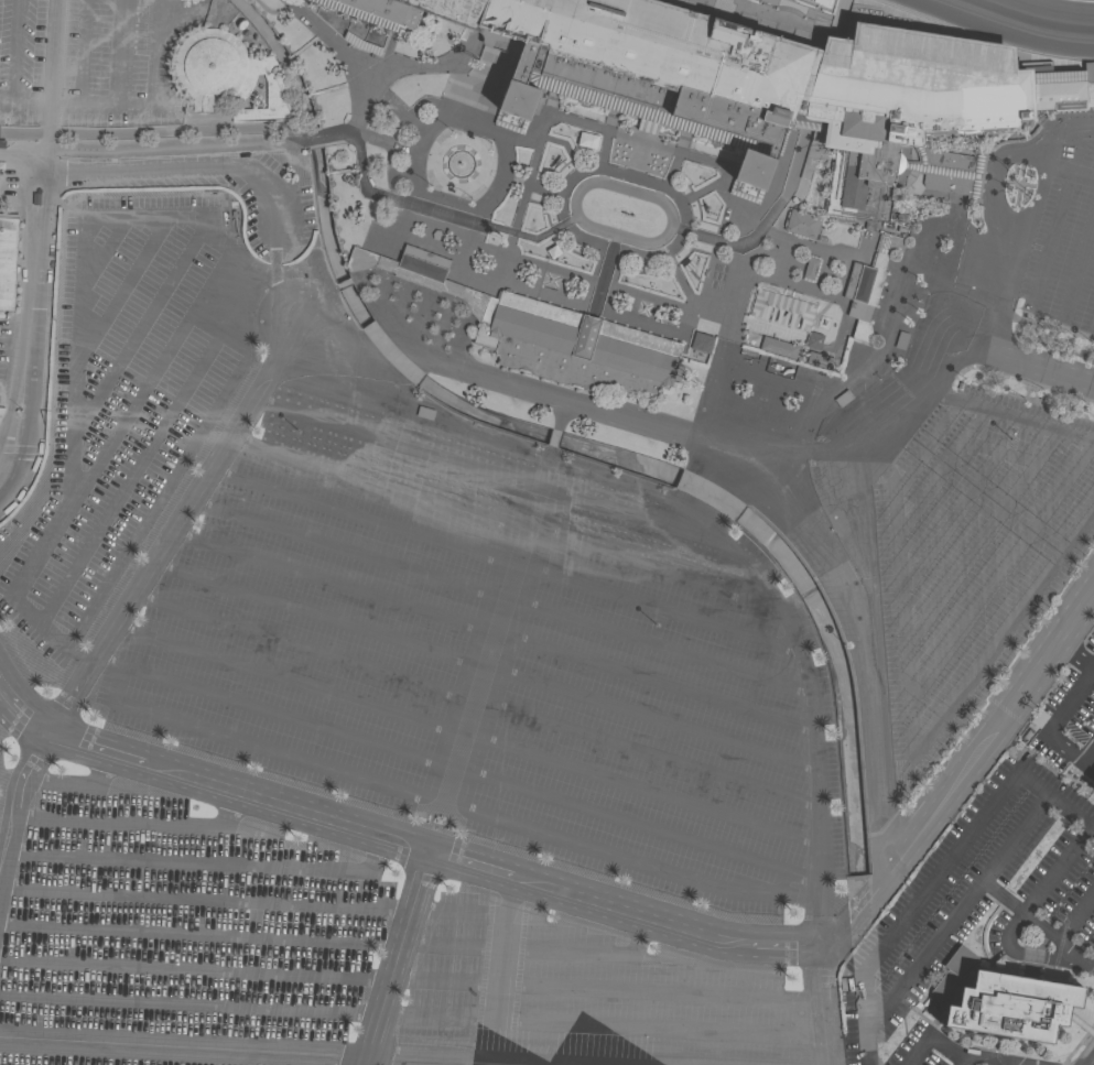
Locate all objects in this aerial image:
track: (1023, 21)
road: (17, 51)
road: (82, 52)
road: (118, 53)
building: (228, 76)
building: (740, 81)
road: (24, 101)
road: (150, 104)
building: (474, 104)
road: (151, 130)
road: (319, 137)
road: (20, 159)
road: (188, 166)
road: (992, 172)
road: (1057, 219)
building: (801, 224)
road: (1015, 225)
road: (555, 226)
road: (31, 252)
road: (100, 252)
building: (8, 260)
road: (1077, 261)
building: (809, 270)
building: (868, 285)
road: (120, 292)
building: (781, 312)
road: (137, 332)
building: (545, 333)
building: (814, 339)
building: (901, 340)
building: (701, 343)
building: (778, 347)
building: (819, 359)
road: (1031, 367)
building: (778, 369)
road: (950, 371)
road: (151, 378)
building: (773, 381)
building: (843, 398)
road: (1011, 420)
road: (650, 423)
road: (387, 445)
road: (924, 450)
road: (997, 452)
road: (142, 458)
road: (938, 475)
road: (370, 481)
road: (356, 513)
road: (949, 523)
road: (55, 525)
road: (542, 539)
road: (979, 540)
road: (339, 550)
road: (661, 572)
road: (999, 573)
road: (139, 579)
road: (325, 580)
road: (311, 611)
road: (664, 611)
road: (853, 639)
road: (294, 645)
road: (664, 649)
road: (1075, 654)
road: (1093, 666)
road: (280, 677)
road: (662, 685)
parking lot: (508, 686)
road: (279, 716)
road: (910, 717)
road: (659, 720)
road: (1052, 727)
road: (653, 756)
road: (963, 774)
road: (73, 784)
road: (391, 789)
building: (1093, 789)
road: (648, 792)
road: (133, 822)
road: (628, 824)
road: (401, 843)
road: (202, 862)
road: (941, 870)
road: (1054, 870)
road: (205, 900)
road: (1005, 902)
parking lot: (973, 910)
road: (955, 913)
road: (1075, 916)
road: (199, 933)
road: (1011, 939)
road: (1054, 941)
road: (1058, 957)
road: (394, 958)
road: (1087, 961)
road: (1087, 965)
road: (194, 969)
road: (496, 970)
building: (1004, 1000)
road: (188, 1006)
road: (826, 1007)
building: (1082, 1025)
road: (1082, 1025)
road: (182, 1048)
road: (947, 1050)
road: (454, 1061)
road: (962, 1062)

